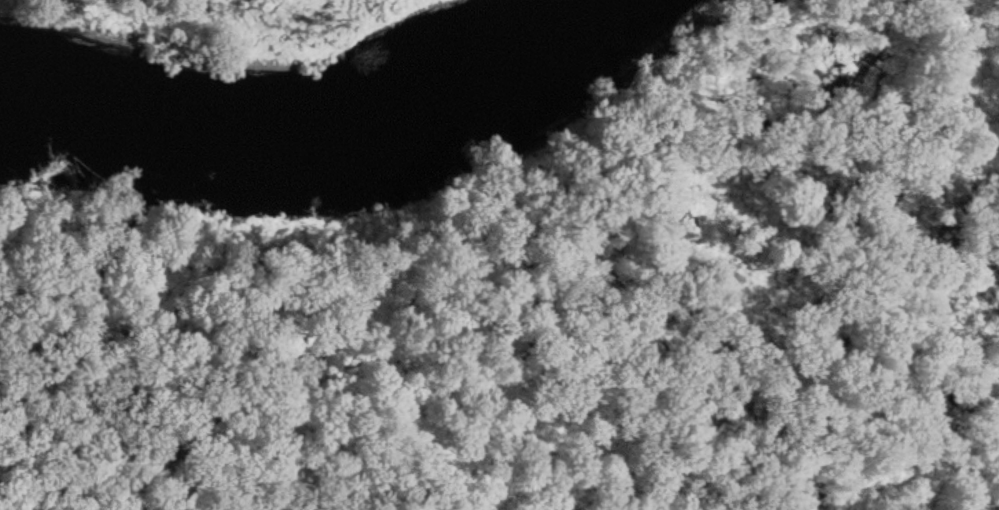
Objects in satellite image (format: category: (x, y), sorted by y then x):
river: (326, 147)

